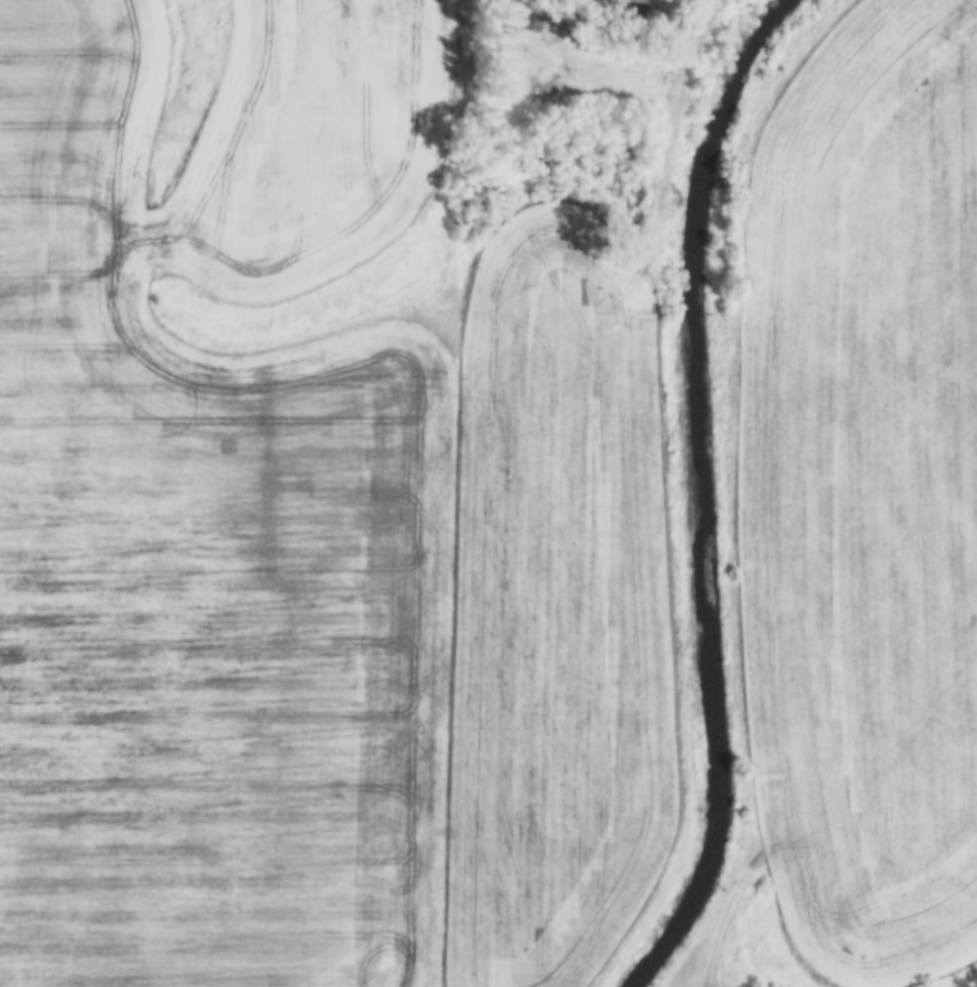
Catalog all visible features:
building: (521, 20)
crop: (865, 492)
crop: (312, 537)

